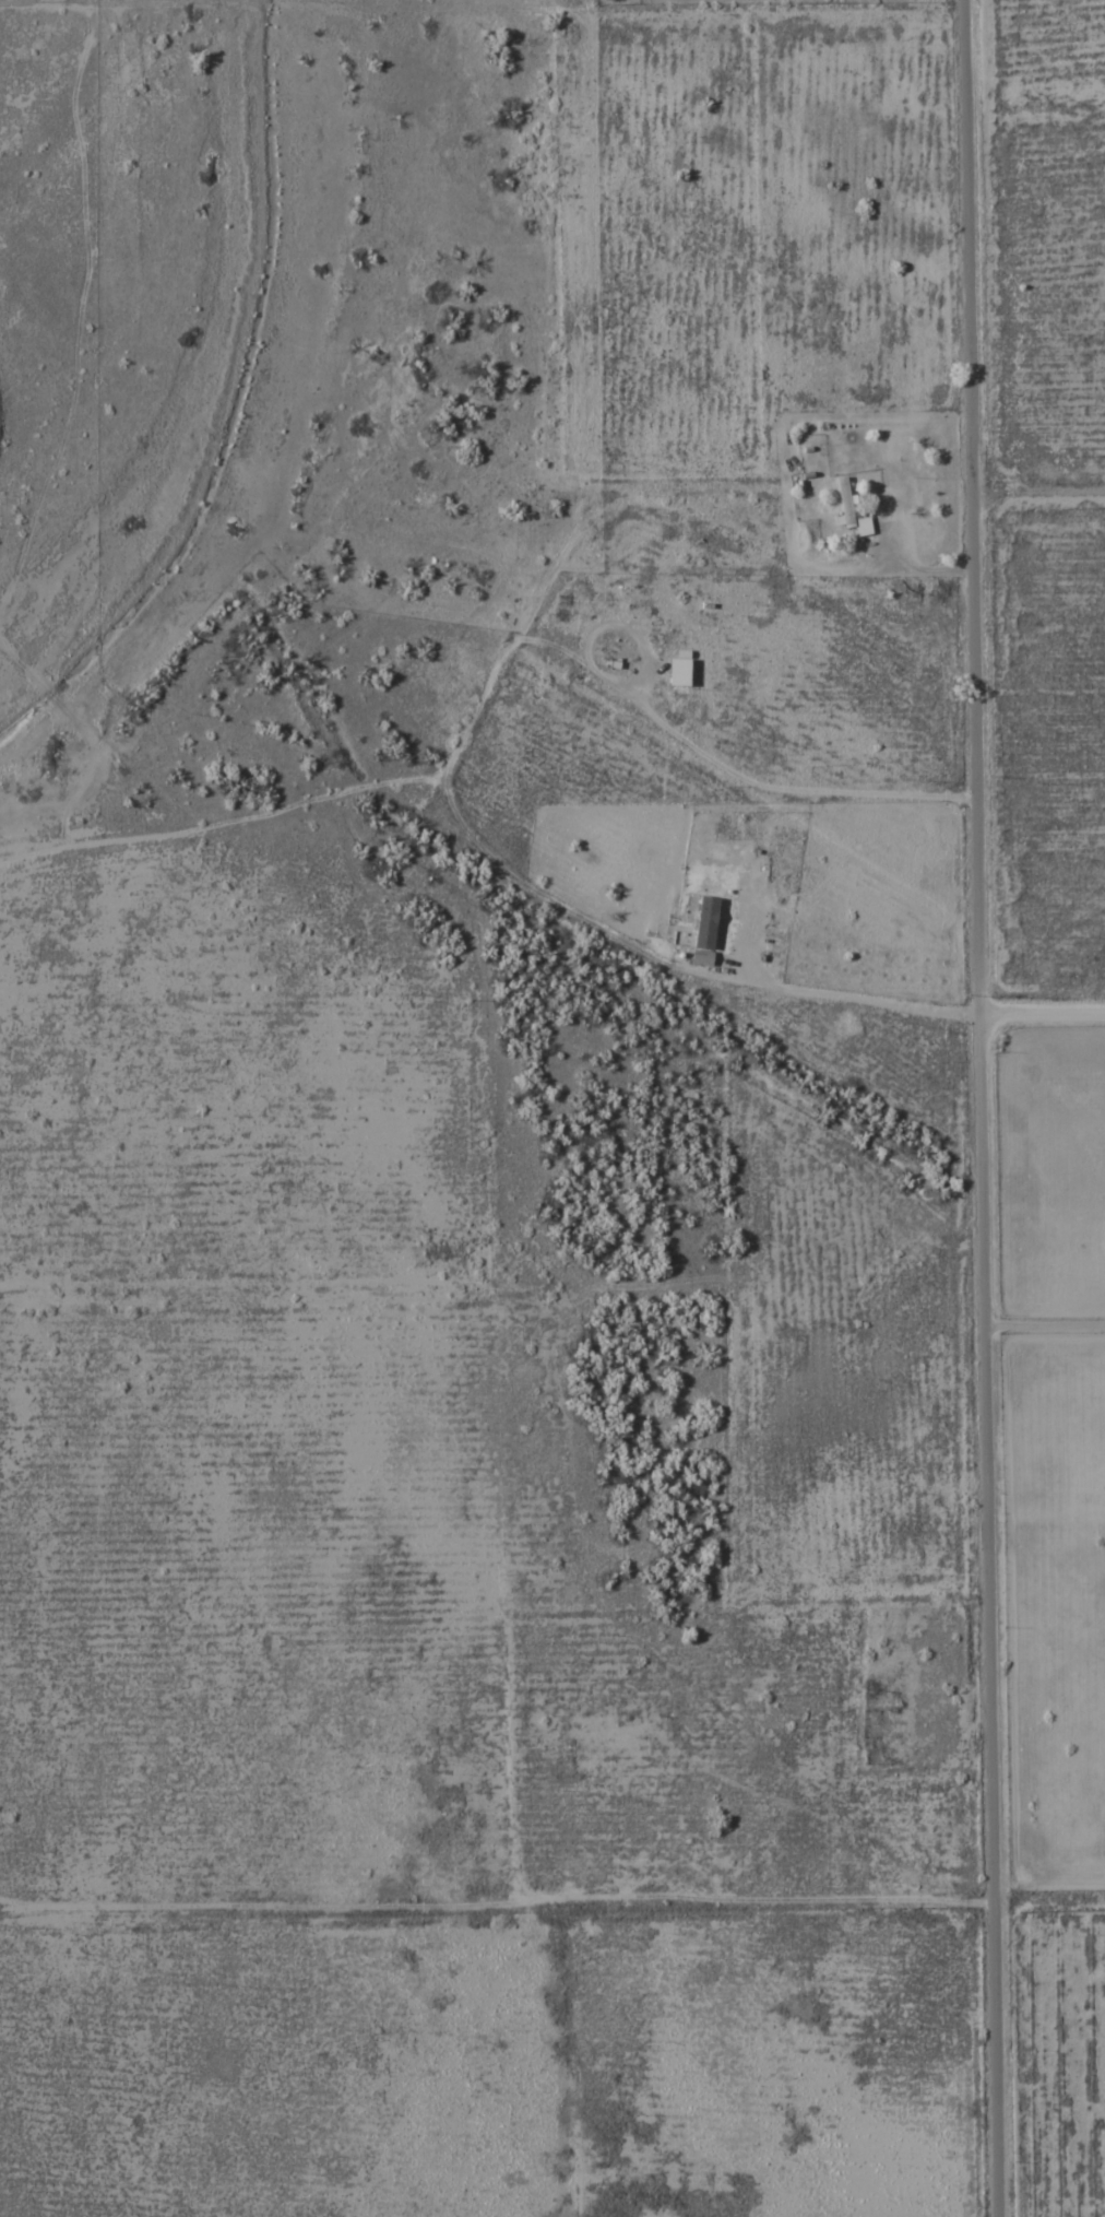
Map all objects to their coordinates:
road: (1037, 488)
building: (853, 510)
building: (682, 671)
building: (708, 921)
road: (1041, 1013)
road: (977, 1108)

